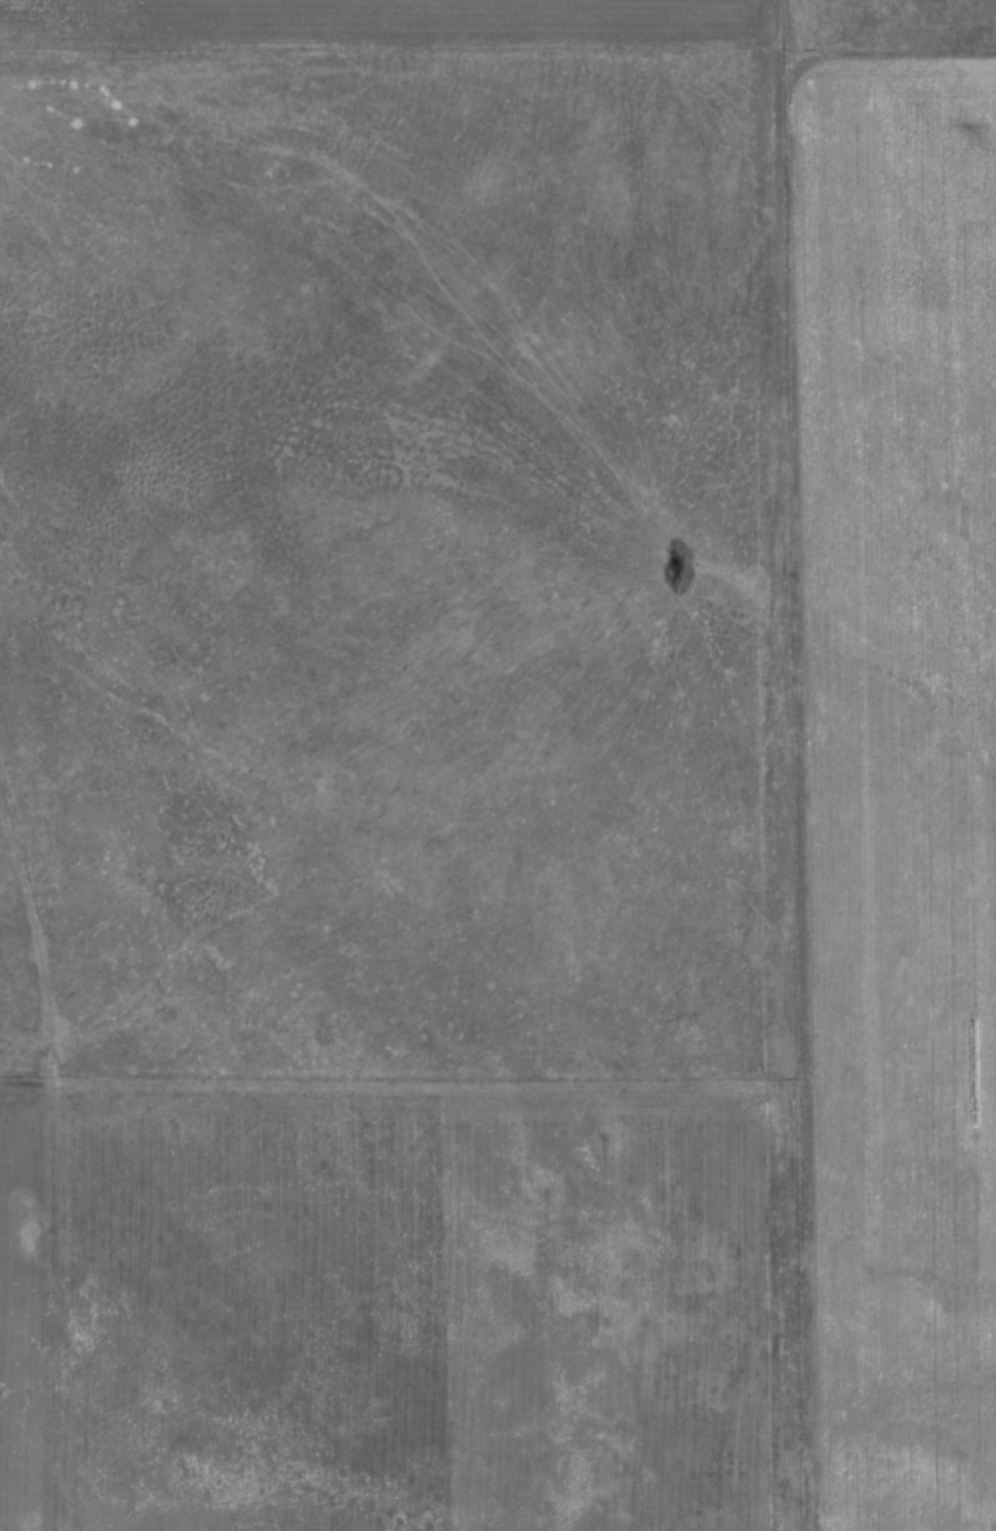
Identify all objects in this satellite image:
road: (781, 765)

